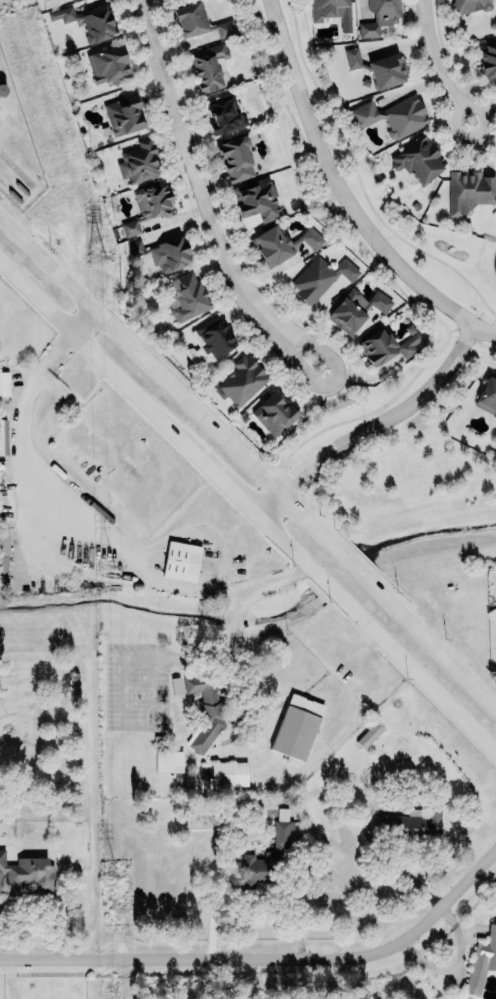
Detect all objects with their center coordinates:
building: (471, 5)
building: (329, 9)
building: (380, 16)
building: (86, 20)
building: (199, 21)
building: (488, 61)
road: (434, 63)
building: (107, 66)
building: (210, 66)
building: (378, 67)
building: (225, 114)
building: (124, 115)
building: (392, 115)
road: (3, 132)
road: (183, 137)
building: (237, 159)
building: (418, 159)
building: (138, 162)
road: (338, 186)
building: (470, 190)
building: (256, 199)
building: (147, 206)
building: (283, 243)
building: (135, 248)
building: (168, 254)
power tower: (94, 258)
building: (320, 277)
building: (189, 299)
building: (355, 310)
road: (486, 329)
building: (215, 336)
building: (378, 347)
road: (164, 379)
building: (243, 381)
building: (4, 383)
road: (338, 385)
building: (487, 396)
building: (274, 413)
road: (153, 417)
road: (373, 426)
building: (3, 437)
road: (72, 508)
building: (3, 556)
road: (347, 560)
building: (181, 561)
power tower: (106, 567)
road: (322, 580)
road: (263, 586)
road: (229, 624)
road: (432, 644)
road: (182, 659)
road: (415, 673)
building: (175, 686)
building: (205, 709)
building: (294, 733)
building: (369, 734)
building: (168, 761)
building: (229, 774)
building: (421, 824)
building: (282, 830)
road: (388, 860)
building: (251, 870)
building: (27, 875)
road: (256, 898)
road: (266, 959)
building: (482, 961)

